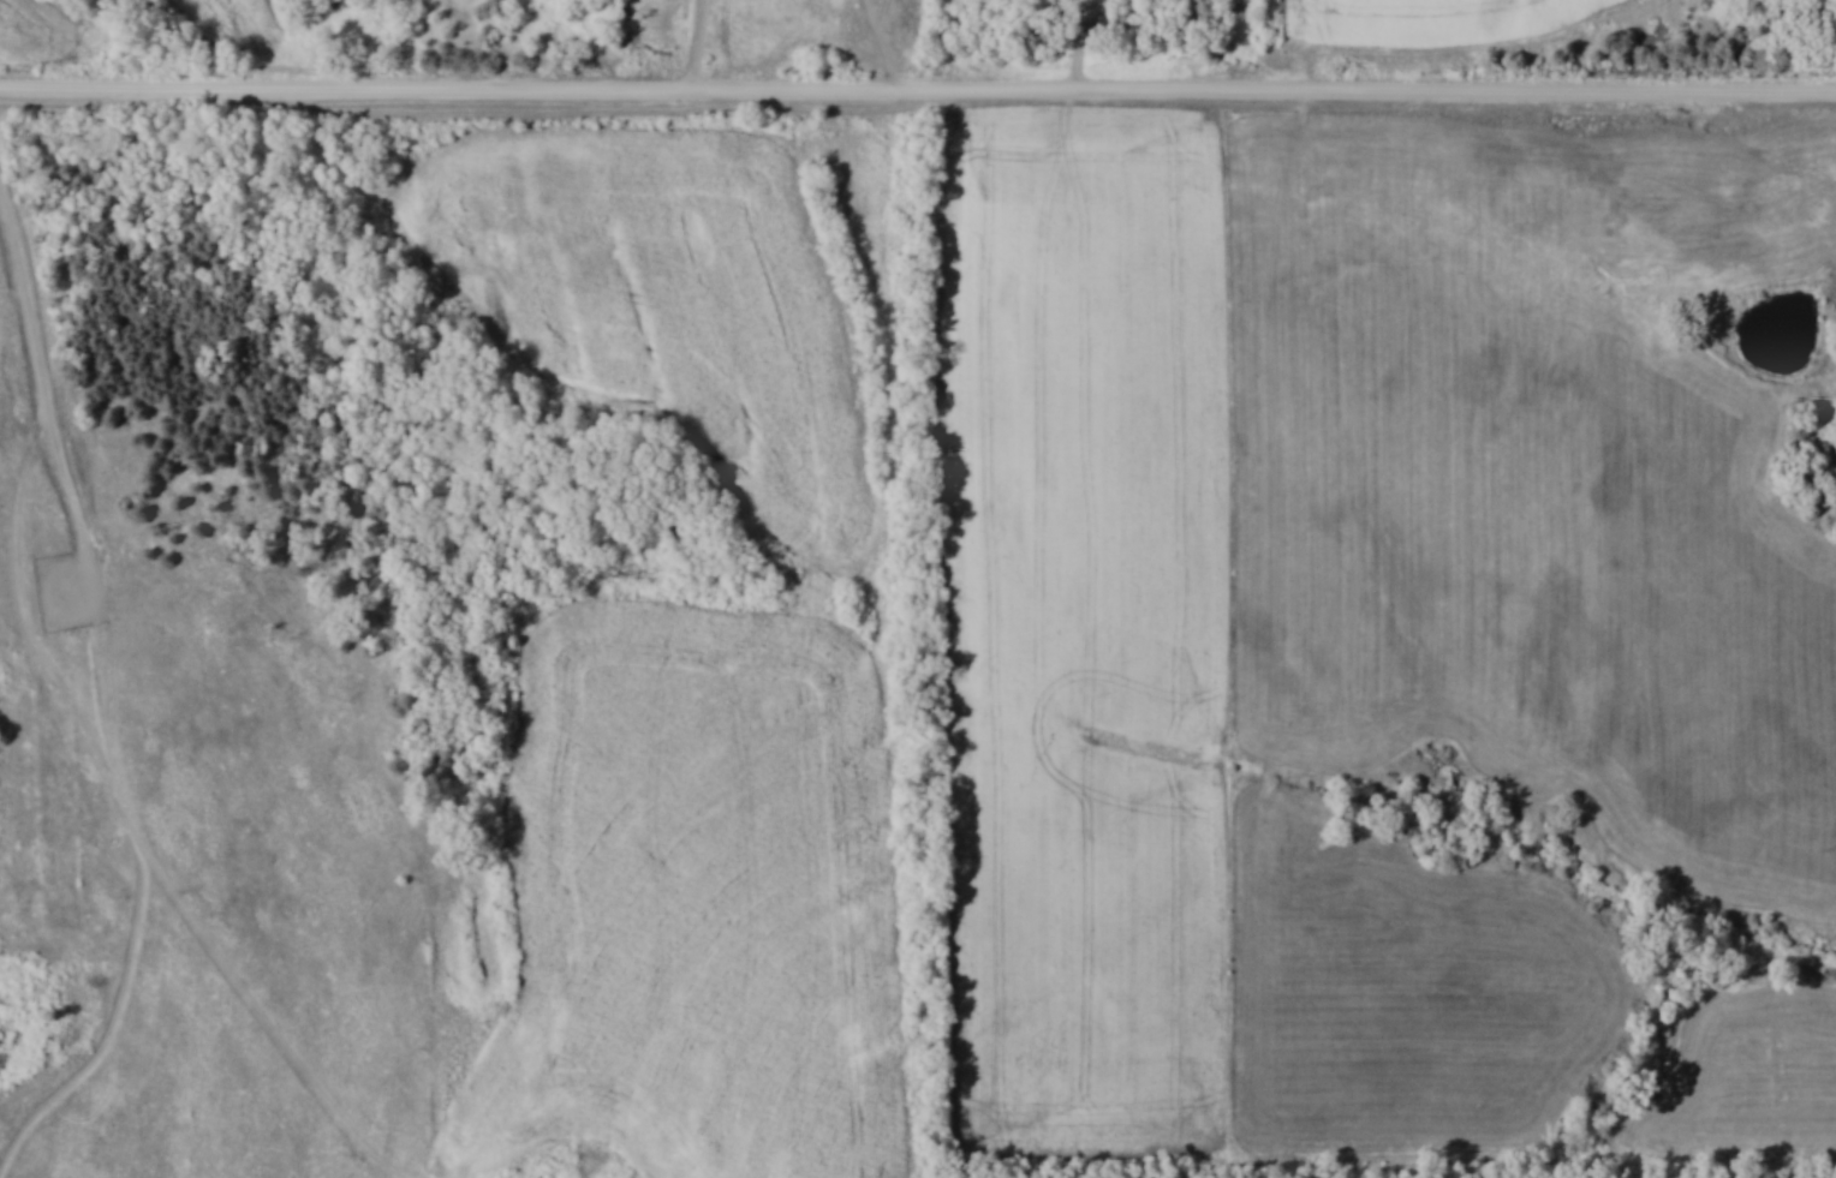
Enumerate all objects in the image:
road: (702, 47)
road: (1199, 47)
road: (465, 95)
road: (1384, 95)
road: (46, 389)

